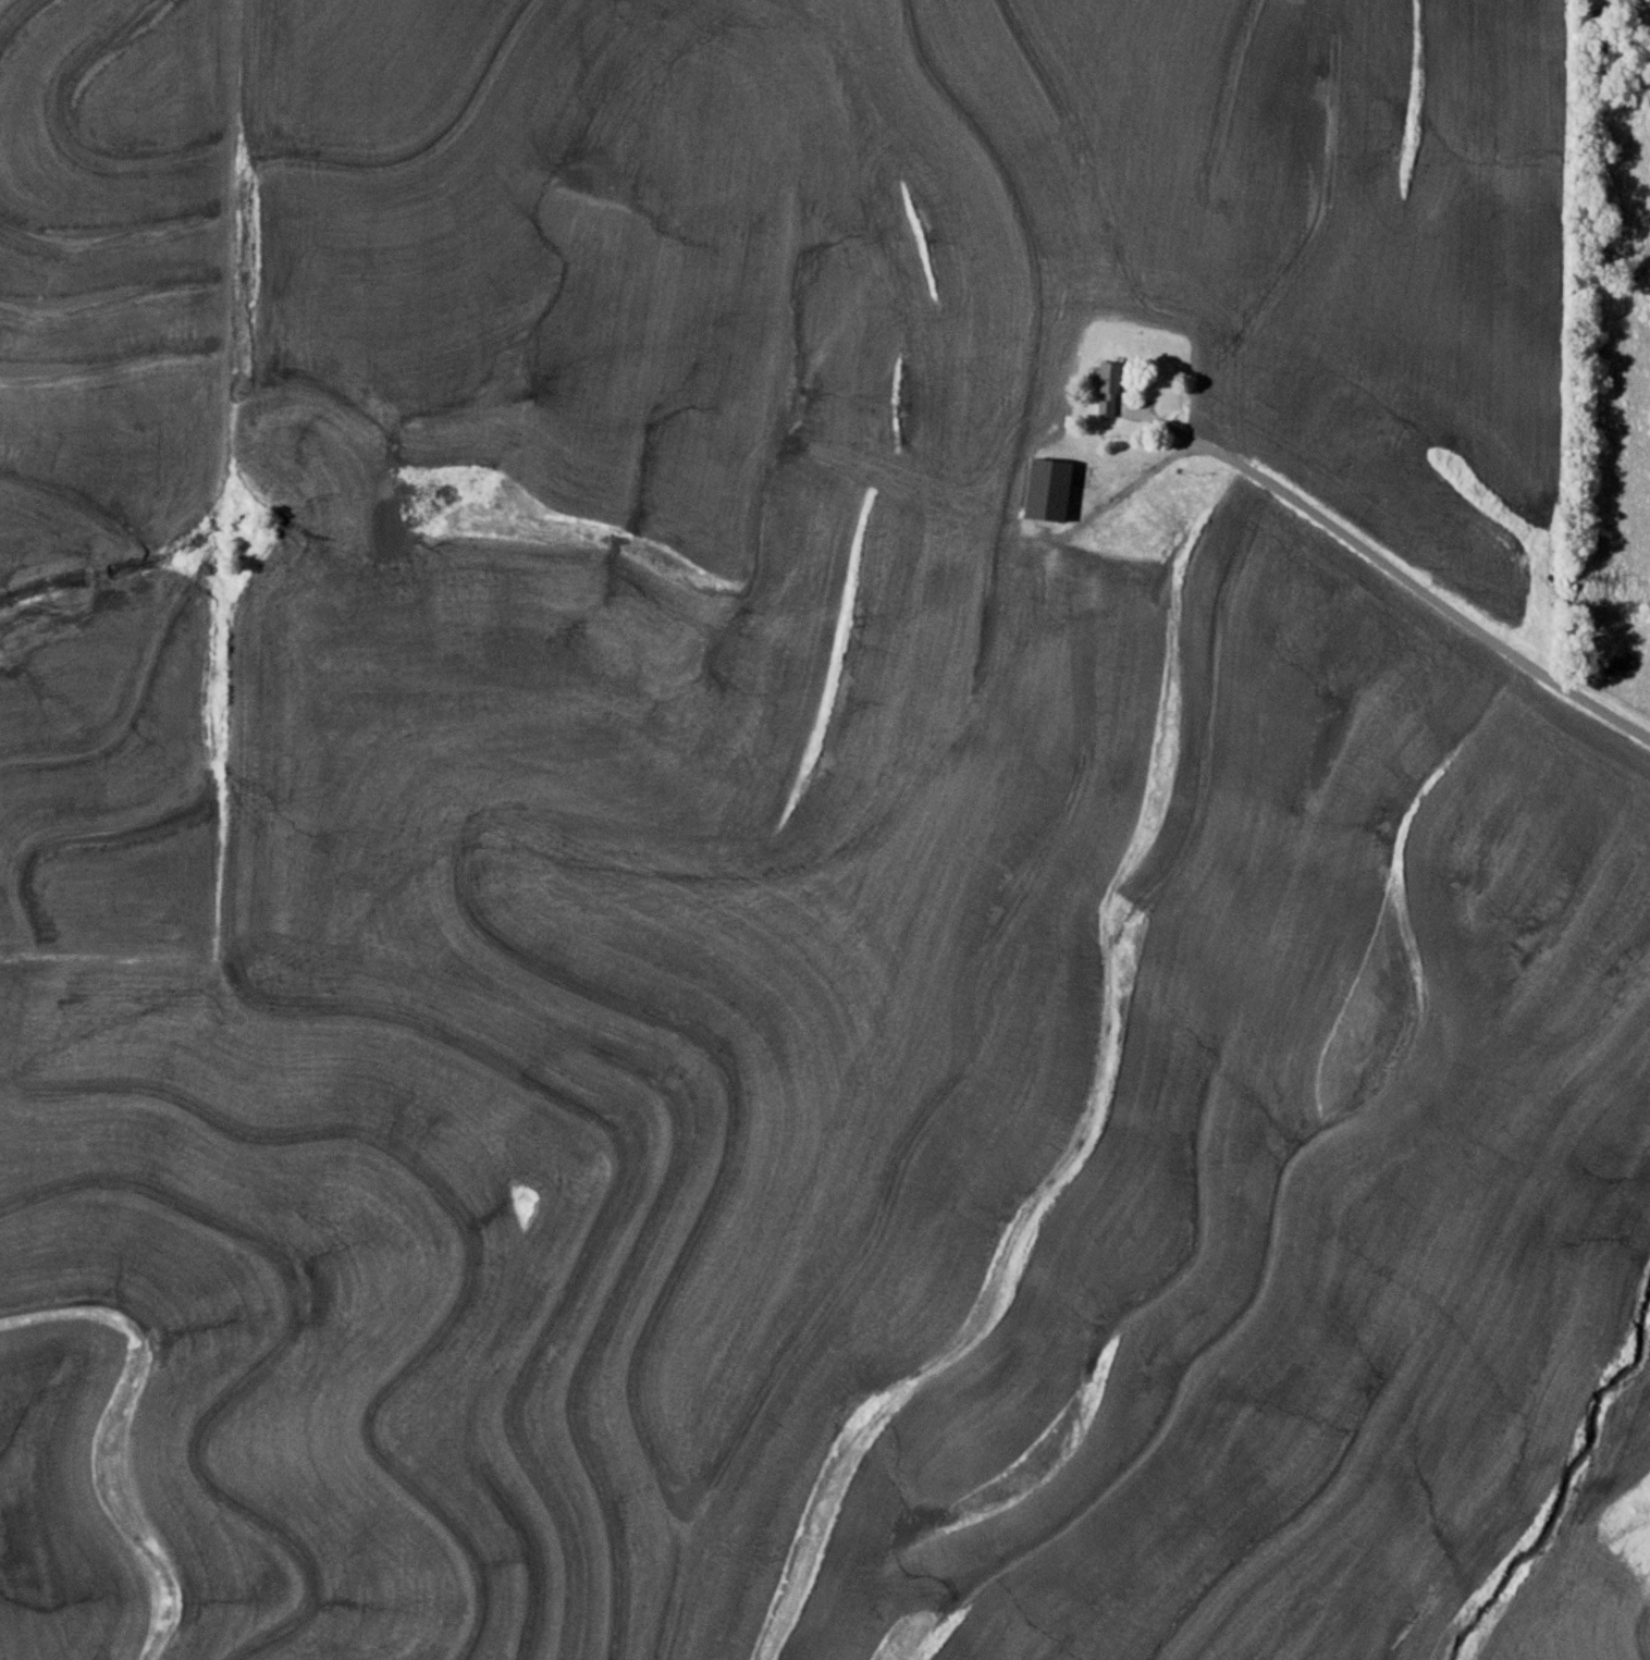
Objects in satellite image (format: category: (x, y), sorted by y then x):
building: (1109, 386)
building: (1055, 488)
road: (1448, 611)

